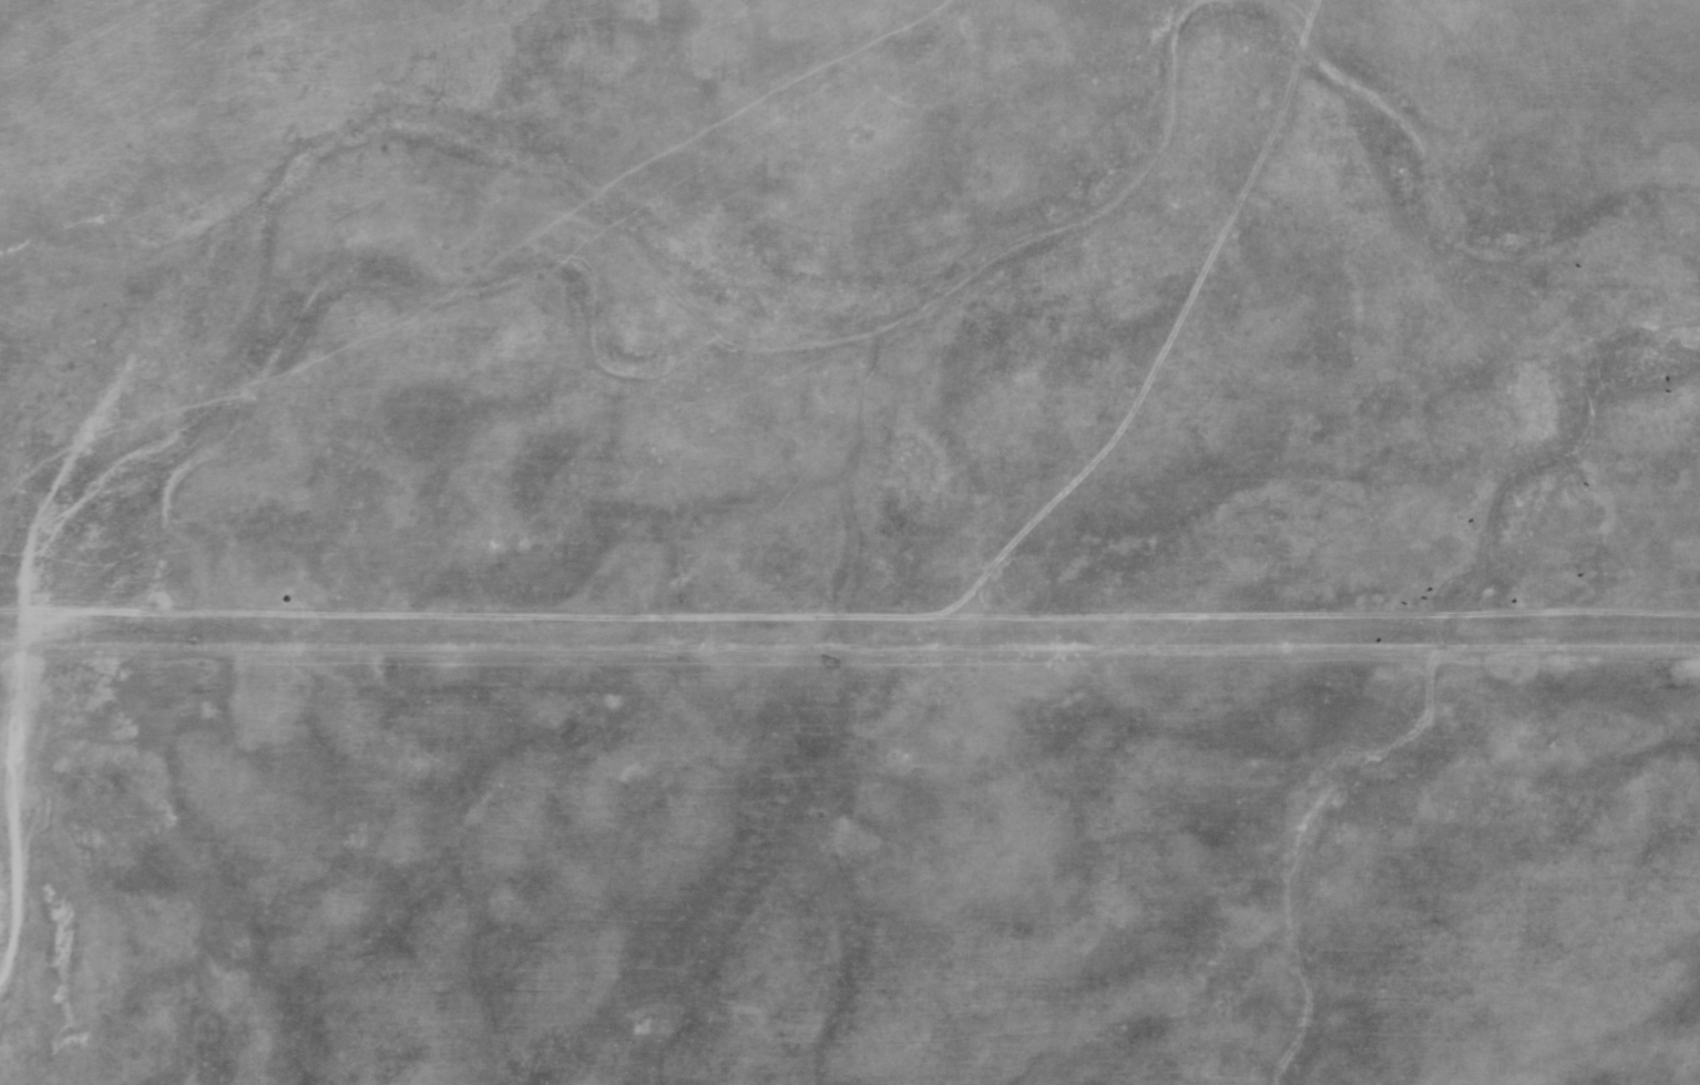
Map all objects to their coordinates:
road: (850, 623)

